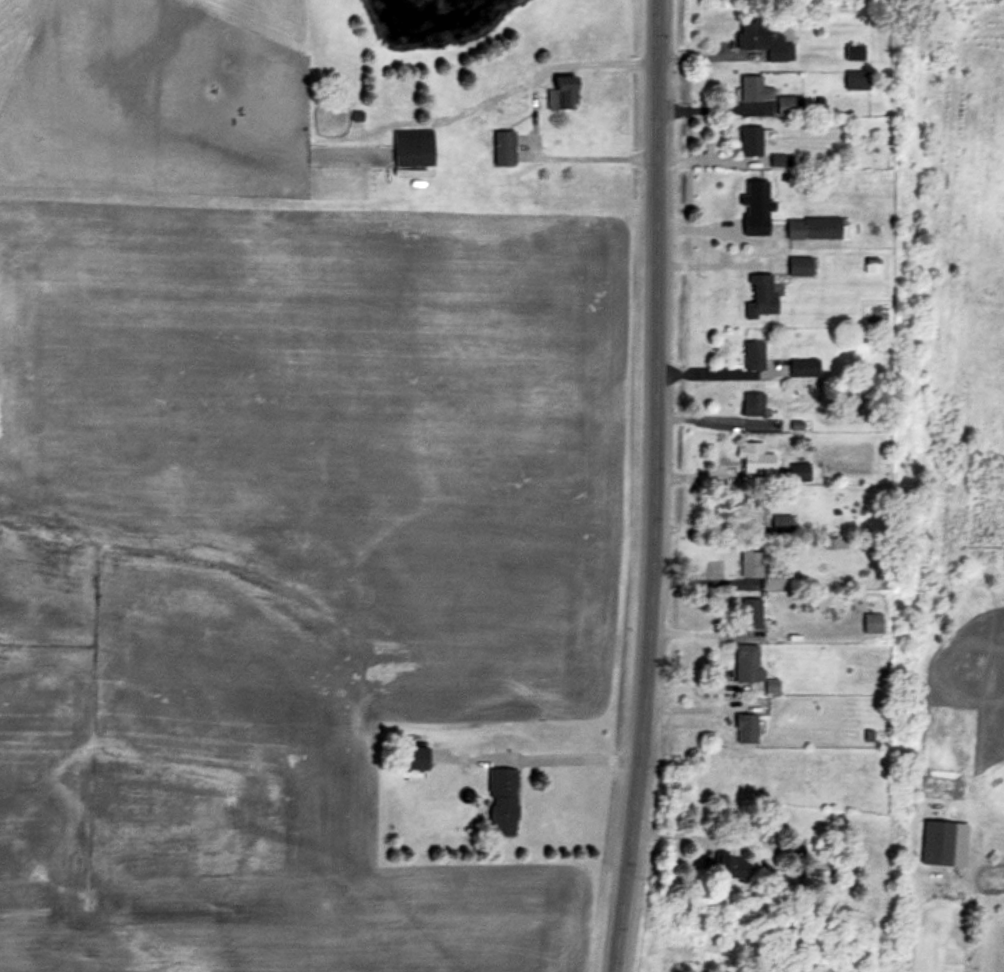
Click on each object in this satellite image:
building: (765, 38)
building: (855, 50)
building: (858, 77)
building: (564, 92)
building: (769, 94)
road: (529, 111)
building: (751, 139)
building: (504, 144)
building: (413, 146)
building: (761, 193)
building: (814, 226)
road: (715, 263)
building: (799, 263)
building: (761, 292)
building: (754, 353)
building: (805, 365)
building: (754, 402)
building: (757, 458)
building: (800, 469)
road: (658, 486)
building: (753, 509)
building: (763, 567)
building: (751, 611)
building: (874, 621)
building: (749, 660)
building: (747, 726)
road: (580, 755)
building: (503, 796)
building: (940, 840)
building: (735, 863)

